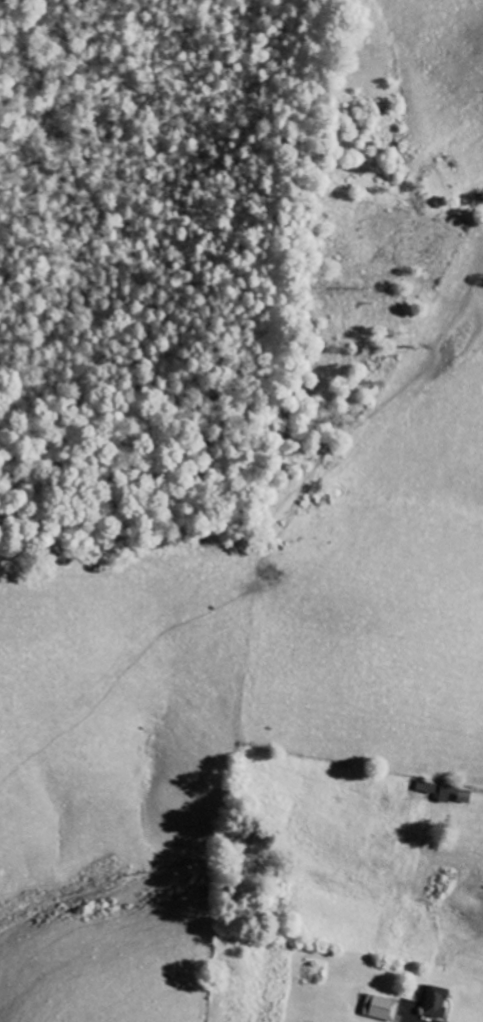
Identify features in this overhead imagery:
building: (457, 794)
building: (426, 995)
building: (439, 1002)
building: (382, 1009)

